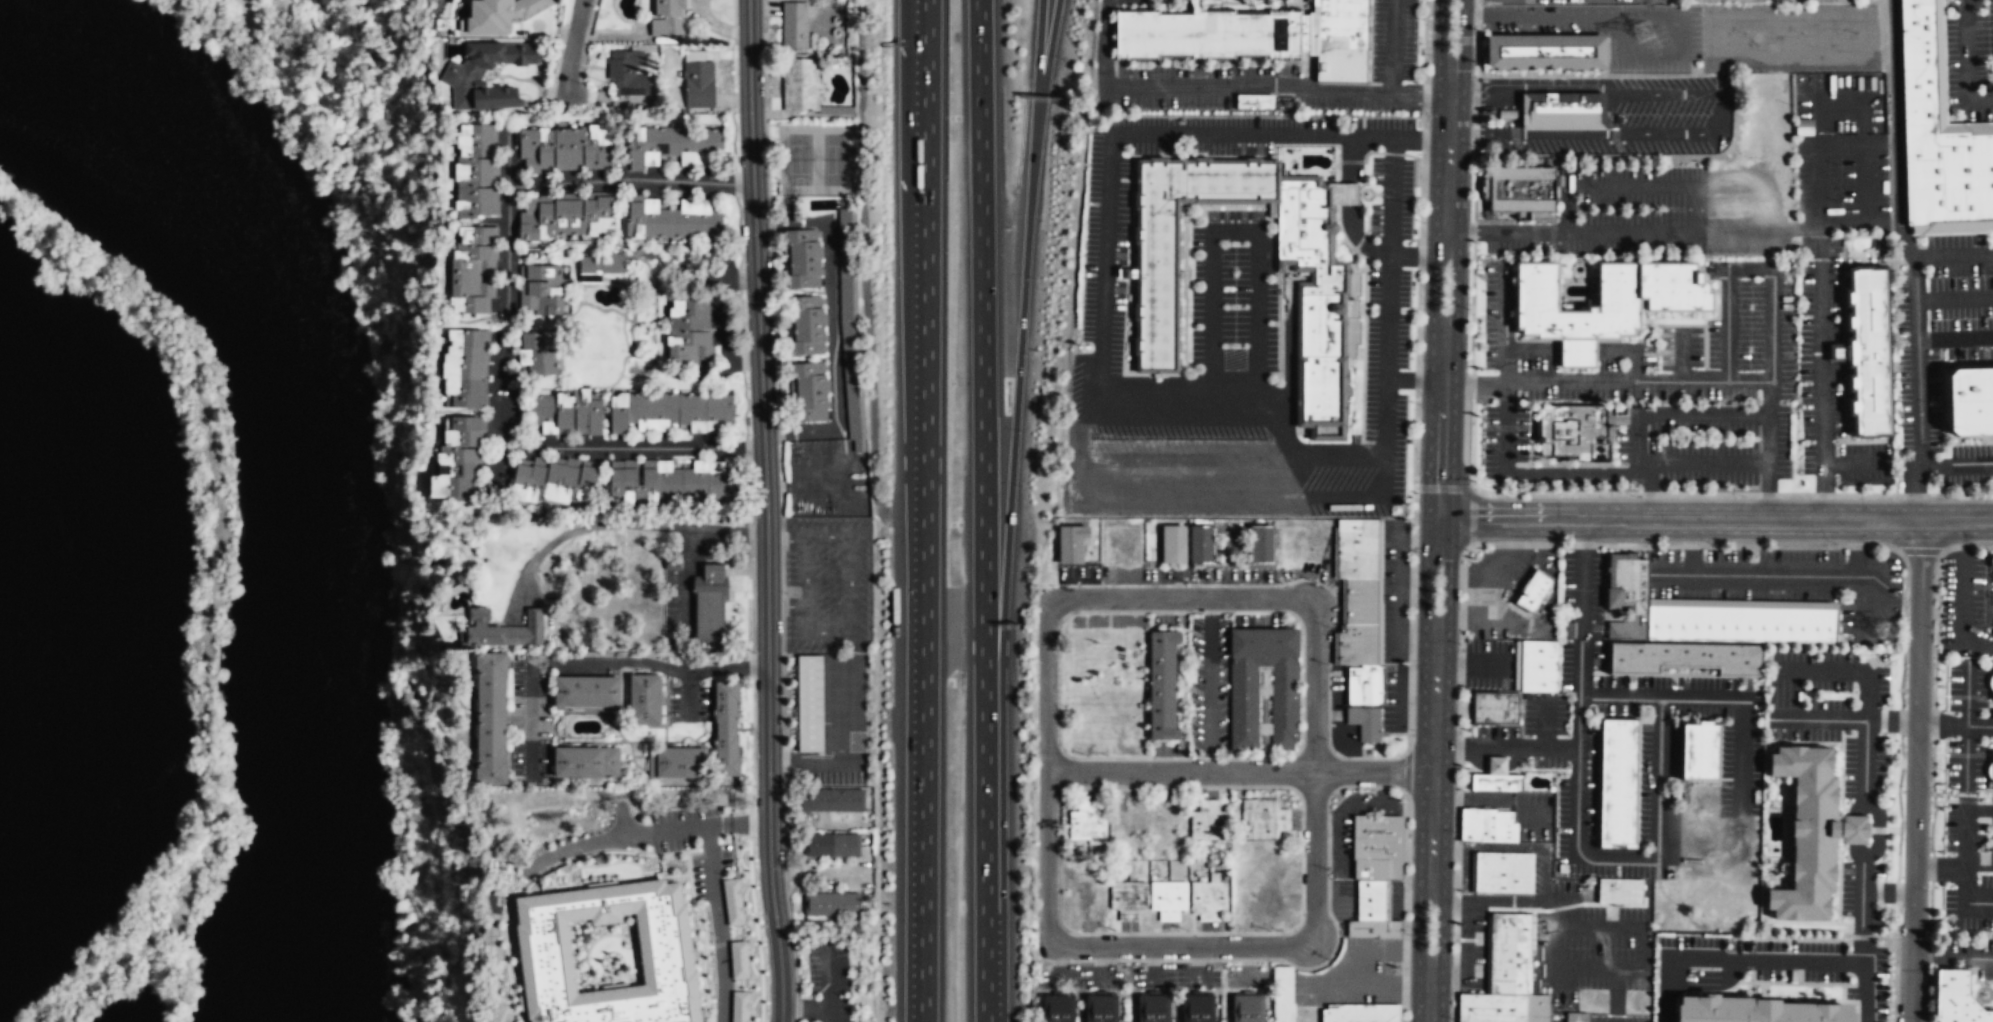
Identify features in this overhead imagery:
parking lot: (1123, 1)
road: (1218, 2)
road: (1276, 2)
road: (1478, 2)
road: (1151, 5)
road: (1478, 13)
road: (1867, 13)
building: (501, 14)
road: (1539, 15)
road: (1664, 16)
building: (668, 18)
building: (449, 24)
building: (795, 25)
parking lot: (1612, 30)
building: (1255, 32)
power tower: (1643, 32)
building: (1916, 34)
road: (1436, 37)
road: (1464, 37)
parking lot: (1789, 38)
parking lot: (1394, 40)
road: (572, 45)
road: (1369, 45)
road: (1037, 47)
road: (1391, 48)
park: (323, 50)
building: (1548, 52)
road: (1628, 52)
road: (1477, 57)
road: (1966, 62)
road: (1720, 71)
building: (628, 73)
building: (463, 77)
building: (699, 84)
building: (801, 85)
road: (1583, 85)
road: (1232, 90)
road: (1939, 91)
building: (1917, 97)
road: (913, 98)
road: (1473, 100)
building: (1255, 102)
parking lot: (1837, 103)
road: (1860, 105)
building: (1564, 111)
road: (1473, 116)
parking lot: (1640, 120)
road: (1473, 133)
road: (1601, 133)
road: (1133, 134)
road: (1436, 138)
building: (670, 144)
road: (1324, 144)
street lamp: (1472, 145)
road: (1879, 145)
building: (566, 149)
road: (1447, 157)
park: (817, 159)
building: (475, 171)
building: (1946, 175)
parking lot: (1841, 177)
road: (1475, 181)
road: (570, 182)
road: (1864, 185)
road: (1629, 186)
building: (1523, 189)
road: (1392, 196)
building: (566, 215)
parking lot: (1614, 215)
building: (671, 220)
road: (1951, 228)
road: (1235, 231)
road: (1474, 231)
road: (1671, 232)
road: (1355, 234)
parking lot: (1747, 235)
road: (1189, 250)
road: (1953, 256)
building: (801, 259)
road: (1914, 260)
building: (602, 266)
building: (472, 269)
road: (1749, 269)
road: (1430, 285)
road: (1455, 285)
building: (541, 290)
parking lot: (1234, 293)
building: (1609, 297)
road: (1954, 298)
road: (1471, 307)
street lamp: (1467, 308)
road: (1820, 310)
road: (1704, 319)
building: (849, 324)
road: (1502, 324)
building: (808, 325)
building: (1321, 325)
road: (1644, 327)
road: (1830, 330)
building: (687, 332)
road: (1577, 338)
road: (1537, 339)
road: (1574, 339)
road: (1955, 339)
building: (1866, 350)
road: (1530, 352)
road: (1835, 352)
building: (538, 353)
road: (1019, 353)
road: (1574, 353)
road: (1624, 353)
road: (1680, 354)
building: (465, 369)
road: (1150, 373)
road: (1415, 373)
road: (1831, 375)
parking lot: (1830, 377)
road: (1414, 379)
parking lot: (1919, 379)
road: (1706, 380)
road: (1212, 385)
road: (1255, 385)
road: (1473, 385)
road: (1474, 385)
building: (809, 391)
building: (1969, 400)
road: (1385, 402)
road: (1187, 406)
building: (669, 412)
building: (566, 414)
road: (1675, 414)
building: (1570, 428)
road: (1610, 428)
road: (1283, 429)
road: (1529, 433)
road: (1440, 437)
parking lot: (1504, 438)
road: (1471, 442)
road: (1077, 443)
parking lot: (1704, 443)
road: (580, 446)
river: (315, 452)
building: (457, 459)
road: (764, 459)
road: (1182, 459)
road: (1708, 462)
road: (1957, 463)
road: (1570, 464)
road: (1855, 465)
road: (1535, 471)
road: (1287, 473)
building: (669, 481)
building: (554, 483)
road: (1443, 488)
road: (1650, 490)
road: (1733, 492)
road: (1181, 494)
street lamp: (1505, 495)
road: (1356, 496)
street lamp: (1635, 496)
street lamp: (1745, 496)
street lamp: (1948, 497)
road: (984, 510)
road: (924, 511)
road: (1716, 519)
road: (577, 530)
road: (730, 533)
street lamp: (1711, 542)
street lamp: (1836, 543)
building: (1072, 544)
building: (1262, 544)
street lamp: (1974, 544)
building: (1172, 545)
building: (1202, 545)
road: (1966, 546)
building: (1357, 548)
road: (1494, 569)
road: (805, 572)
road: (1672, 574)
road: (1773, 575)
road: (1963, 580)
road: (685, 583)
parking lot: (828, 584)
road: (1422, 588)
building: (1531, 588)
road: (1448, 589)
road: (1862, 593)
building: (1626, 594)
road: (850, 596)
road: (1184, 598)
building: (1361, 600)
building: (706, 604)
road: (1486, 612)
building: (1738, 622)
street lamp: (1932, 628)
building: (502, 630)
power tower: (1892, 633)
street lamp: (1458, 643)
building: (1358, 644)
building: (1682, 654)
road: (1470, 661)
parking lot: (1490, 663)
building: (1535, 664)
road: (1845, 669)
road: (693, 670)
road: (531, 675)
building: (1162, 685)
building: (1366, 685)
building: (586, 691)
road: (688, 695)
building: (644, 699)
building: (810, 704)
building: (1283, 704)
building: (1493, 706)
parking lot: (1832, 709)
road: (838, 711)
building: (491, 719)
road: (1821, 720)
building: (1365, 722)
road: (1544, 724)
building: (727, 728)
road: (1966, 740)
road: (1506, 747)
road: (1866, 747)
building: (1694, 748)
road: (1988, 748)
road: (1981, 754)
road: (1433, 756)
road: (1740, 760)
building: (587, 762)
building: (676, 762)
road: (813, 763)
road: (1239, 771)
road: (1916, 771)
road: (1407, 772)
building: (1614, 780)
building: (1497, 782)
street lamp: (1901, 785)
road: (1931, 785)
building: (832, 801)
road: (1963, 801)
parking lot: (1519, 810)
building: (1263, 820)
building: (1209, 822)
building: (1087, 823)
building: (1487, 824)
building: (1856, 828)
road: (1875, 829)
road: (644, 831)
street lamp: (1454, 832)
building: (1811, 832)
parking lot: (1966, 840)
building: (832, 846)
building: (1378, 846)
road: (1513, 846)
road: (1577, 846)
road: (1966, 852)
parking lot: (1465, 865)
building: (1560, 867)
building: (1473, 871)
building: (1504, 872)
building: (1620, 890)
street lamp: (1928, 890)
road: (1888, 892)
building: (1208, 898)
building: (1127, 899)
building: (1168, 899)
building: (1371, 899)
road: (1965, 899)
road: (1492, 900)
building: (732, 902)
parking lot: (1970, 904)
building: (829, 905)
road: (1405, 908)
road: (718, 923)
road: (1415, 924)
road: (1440, 925)
building: (1375, 928)
road: (1961, 933)
parking lot: (1583, 939)
parking lot: (1471, 944)
road: (1180, 947)
building: (1511, 952)
building: (606, 955)
parking lot: (1784, 955)
parking lot: (1965, 955)
road: (1953, 957)
building: (738, 960)
road: (1767, 961)
road: (1618, 966)
road: (780, 970)
street lamp: (1931, 970)
road: (1975, 977)
road: (1988, 981)
road: (1984, 984)
building: (1282, 994)
road: (1427, 994)
road: (1618, 994)
road: (1992, 994)
road: (1978, 996)
building: (1955, 998)
building: (739, 1006)
building: (1492, 1007)
building: (1058, 1008)
building: (1101, 1008)
building: (1153, 1008)
building: (1197, 1008)
building: (1248, 1008)
building: (1538, 1008)
road: (809, 1009)
building: (1762, 1010)
building: (1361, 1013)
building: (1577, 1017)
parking lot: (1618, 1017)
street lamp: (1451, 1018)

